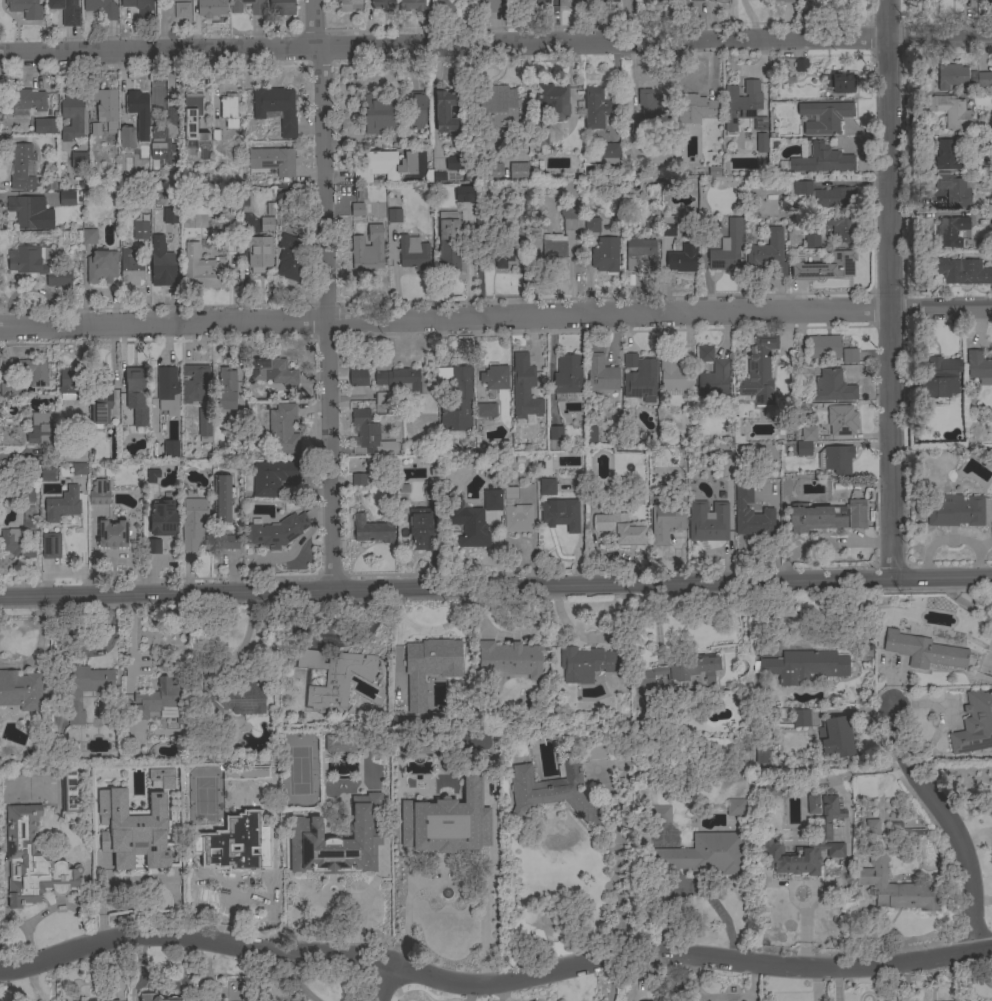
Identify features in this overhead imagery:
building: (643, 0)
building: (696, 0)
building: (606, 1)
building: (713, 1)
building: (785, 1)
building: (564, 3)
building: (383, 4)
building: (534, 4)
building: (350, 5)
building: (410, 5)
building: (490, 5)
building: (140, 7)
building: (211, 7)
building: (282, 7)
building: (445, 7)
building: (25, 8)
building: (102, 8)
building: (256, 8)
building: (806, 8)
building: (182, 10)
building: (66, 11)
road: (751, 20)
road: (495, 46)
building: (800, 65)
building: (961, 77)
building: (840, 83)
building: (552, 100)
building: (24, 101)
building: (138, 106)
building: (493, 106)
building: (106, 108)
building: (276, 108)
building: (695, 108)
building: (416, 109)
building: (597, 109)
building: (228, 110)
building: (650, 110)
building: (444, 111)
building: (952, 111)
building: (741, 112)
building: (72, 115)
building: (379, 115)
building: (824, 116)
building: (194, 122)
building: (45, 126)
building: (540, 134)
building: (126, 137)
building: (165, 139)
building: (980, 140)
building: (761, 143)
building: (608, 153)
building: (947, 154)
building: (78, 160)
building: (822, 160)
building: (272, 161)
building: (454, 163)
building: (384, 165)
building: (21, 166)
building: (492, 170)
building: (518, 171)
building: (49, 184)
building: (802, 187)
building: (954, 190)
building: (466, 194)
building: (283, 195)
building: (834, 198)
building: (67, 199)
building: (357, 209)
building: (30, 212)
building: (167, 216)
building: (394, 216)
building: (991, 219)
building: (267, 224)
building: (592, 225)
building: (668, 226)
building: (840, 227)
building: (483, 229)
building: (140, 230)
building: (949, 231)
building: (89, 236)
building: (560, 238)
building: (811, 240)
building: (449, 243)
building: (229, 246)
building: (727, 247)
building: (368, 250)
building: (259, 253)
building: (413, 253)
building: (768, 253)
building: (605, 254)
building: (641, 254)
building: (500, 256)
building: (291, 257)
building: (682, 258)
building: (38, 265)
building: (101, 266)
building: (826, 267)
building: (131, 268)
building: (163, 268)
building: (201, 270)
building: (963, 271)
road: (887, 289)
road: (325, 293)
road: (495, 319)
building: (824, 347)
building: (849, 355)
building: (979, 367)
building: (27, 370)
building: (273, 371)
building: (759, 371)
building: (358, 372)
building: (601, 373)
building: (713, 374)
building: (674, 375)
building: (495, 377)
building: (639, 377)
building: (567, 378)
building: (940, 378)
building: (399, 379)
building: (68, 383)
building: (195, 383)
building: (833, 387)
building: (8, 388)
building: (167, 388)
building: (226, 389)
building: (136, 395)
building: (525, 395)
building: (381, 398)
building: (457, 399)
building: (101, 401)
building: (486, 411)
building: (841, 420)
building: (204, 428)
building: (281, 428)
building: (41, 429)
building: (736, 431)
building: (591, 434)
building: (369, 435)
building: (555, 438)
building: (806, 441)
building: (170, 448)
building: (836, 459)
building: (79, 469)
building: (47, 471)
building: (152, 476)
building: (272, 477)
building: (359, 479)
building: (547, 486)
building: (431, 489)
building: (99, 492)
building: (28, 493)
building: (223, 498)
building: (492, 499)
building: (63, 504)
building: (954, 510)
building: (516, 513)
building: (562, 515)
building: (752, 515)
building: (826, 516)
building: (164, 518)
building: (666, 522)
building: (708, 522)
building: (193, 523)
building: (420, 527)
building: (621, 528)
building: (372, 529)
building: (473, 529)
building: (277, 531)
building: (112, 534)
building: (22, 536)
road: (953, 541)
building: (230, 542)
road: (827, 544)
building: (51, 546)
building: (153, 546)
road: (495, 586)
road: (246, 632)
building: (991, 637)
building: (922, 649)
building: (510, 659)
building: (586, 663)
building: (807, 665)
building: (429, 667)
building: (682, 672)
building: (333, 676)
building: (87, 679)
building: (21, 690)
building: (230, 697)
building: (162, 700)
building: (76, 714)
building: (801, 717)
building: (975, 724)
building: (836, 736)
building: (338, 745)
building: (761, 751)
building: (592, 753)
building: (574, 770)
building: (419, 773)
building: (161, 776)
building: (266, 786)
building: (71, 795)
building: (545, 797)
building: (813, 804)
building: (735, 807)
building: (464, 811)
building: (660, 814)
road: (948, 825)
building: (870, 827)
building: (130, 829)
building: (904, 832)
building: (328, 837)
building: (824, 837)
building: (705, 854)
building: (232, 860)
building: (32, 861)
building: (135, 863)
road: (617, 872)
building: (896, 887)
road: (484, 889)
road: (384, 980)
road: (493, 980)
building: (156, 997)
building: (113, 1000)
building: (277, 1000)

